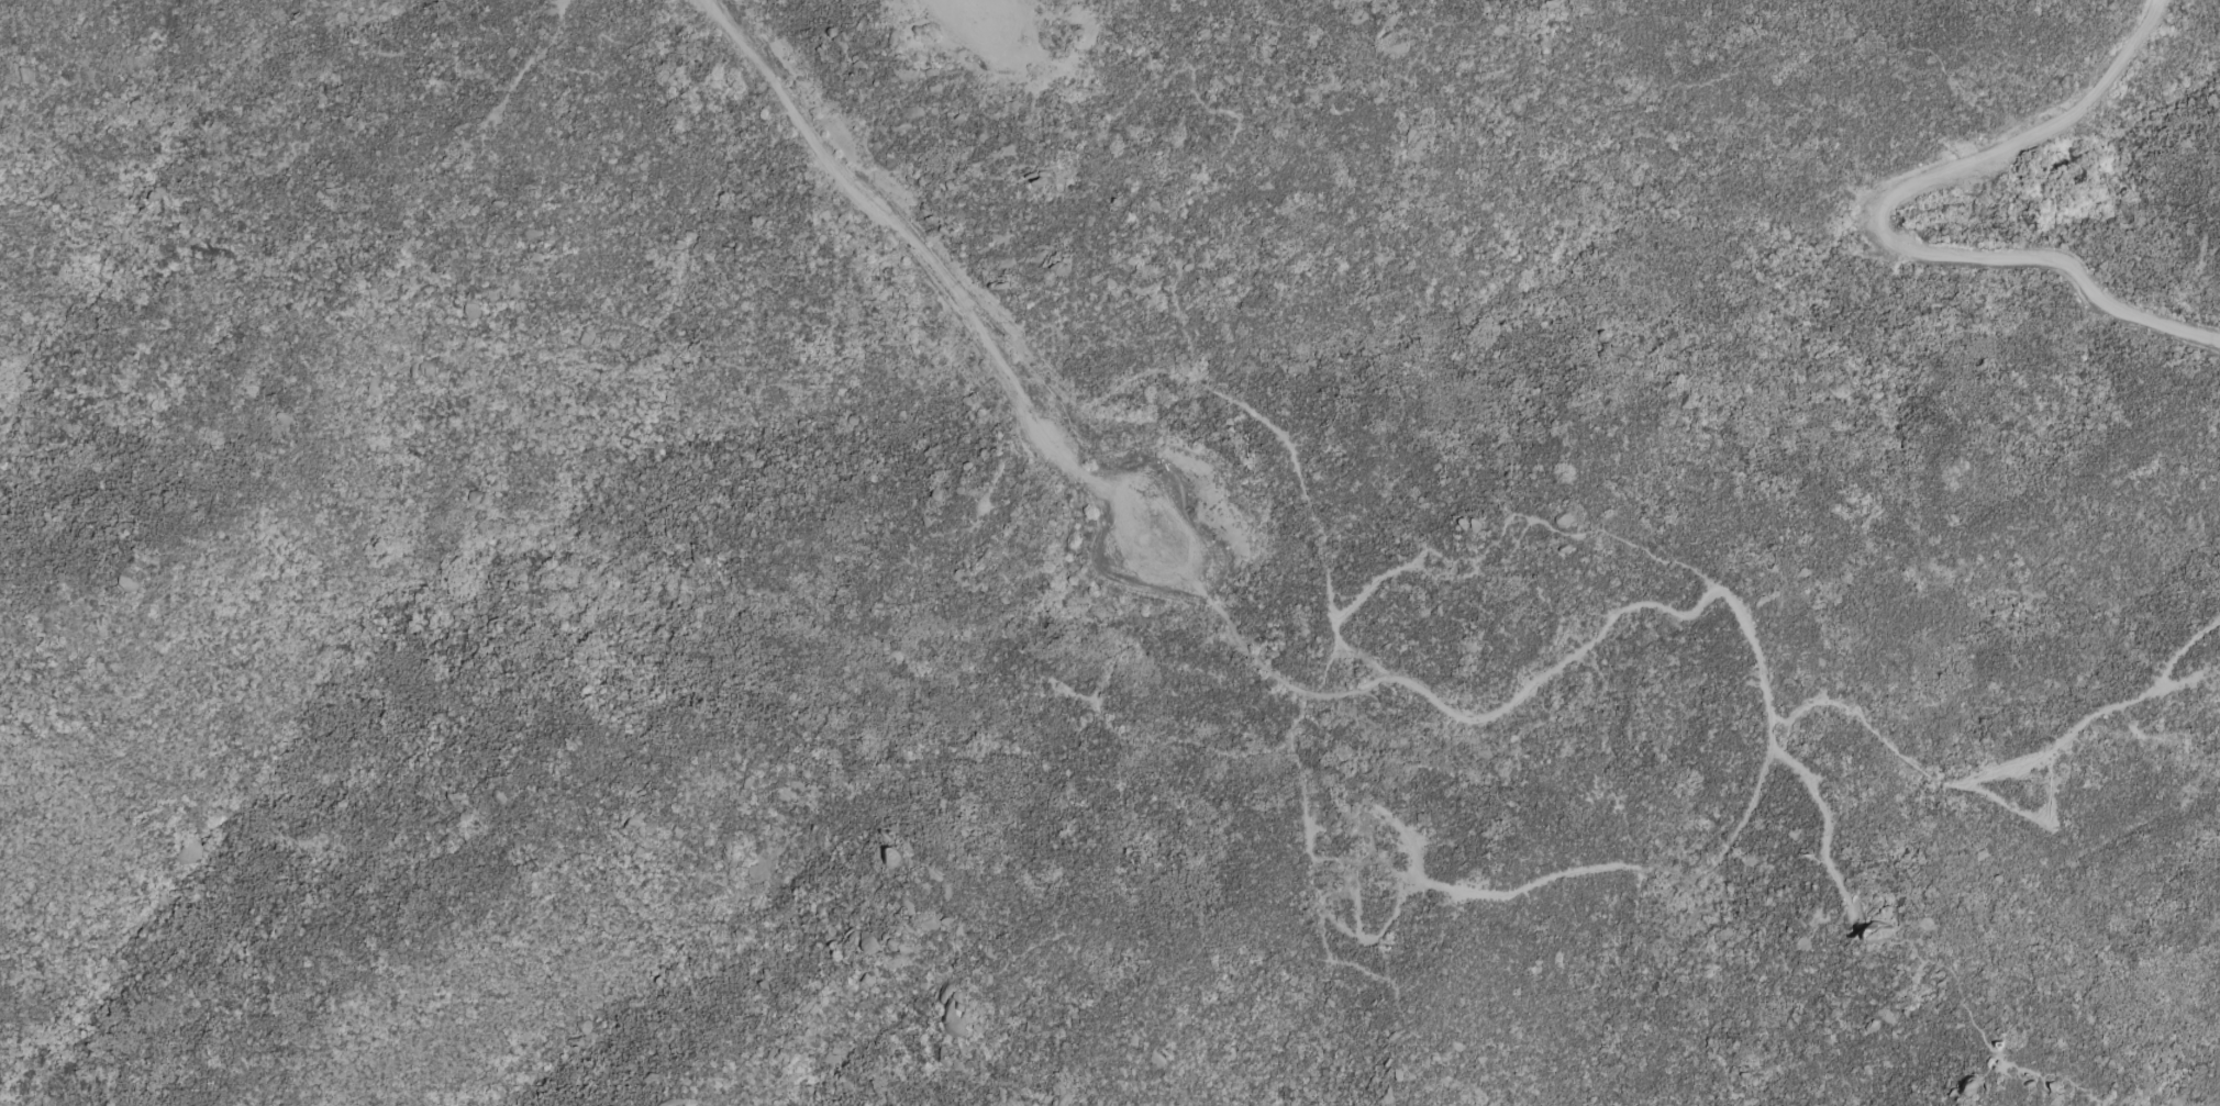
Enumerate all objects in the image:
road: (1879, 222)

